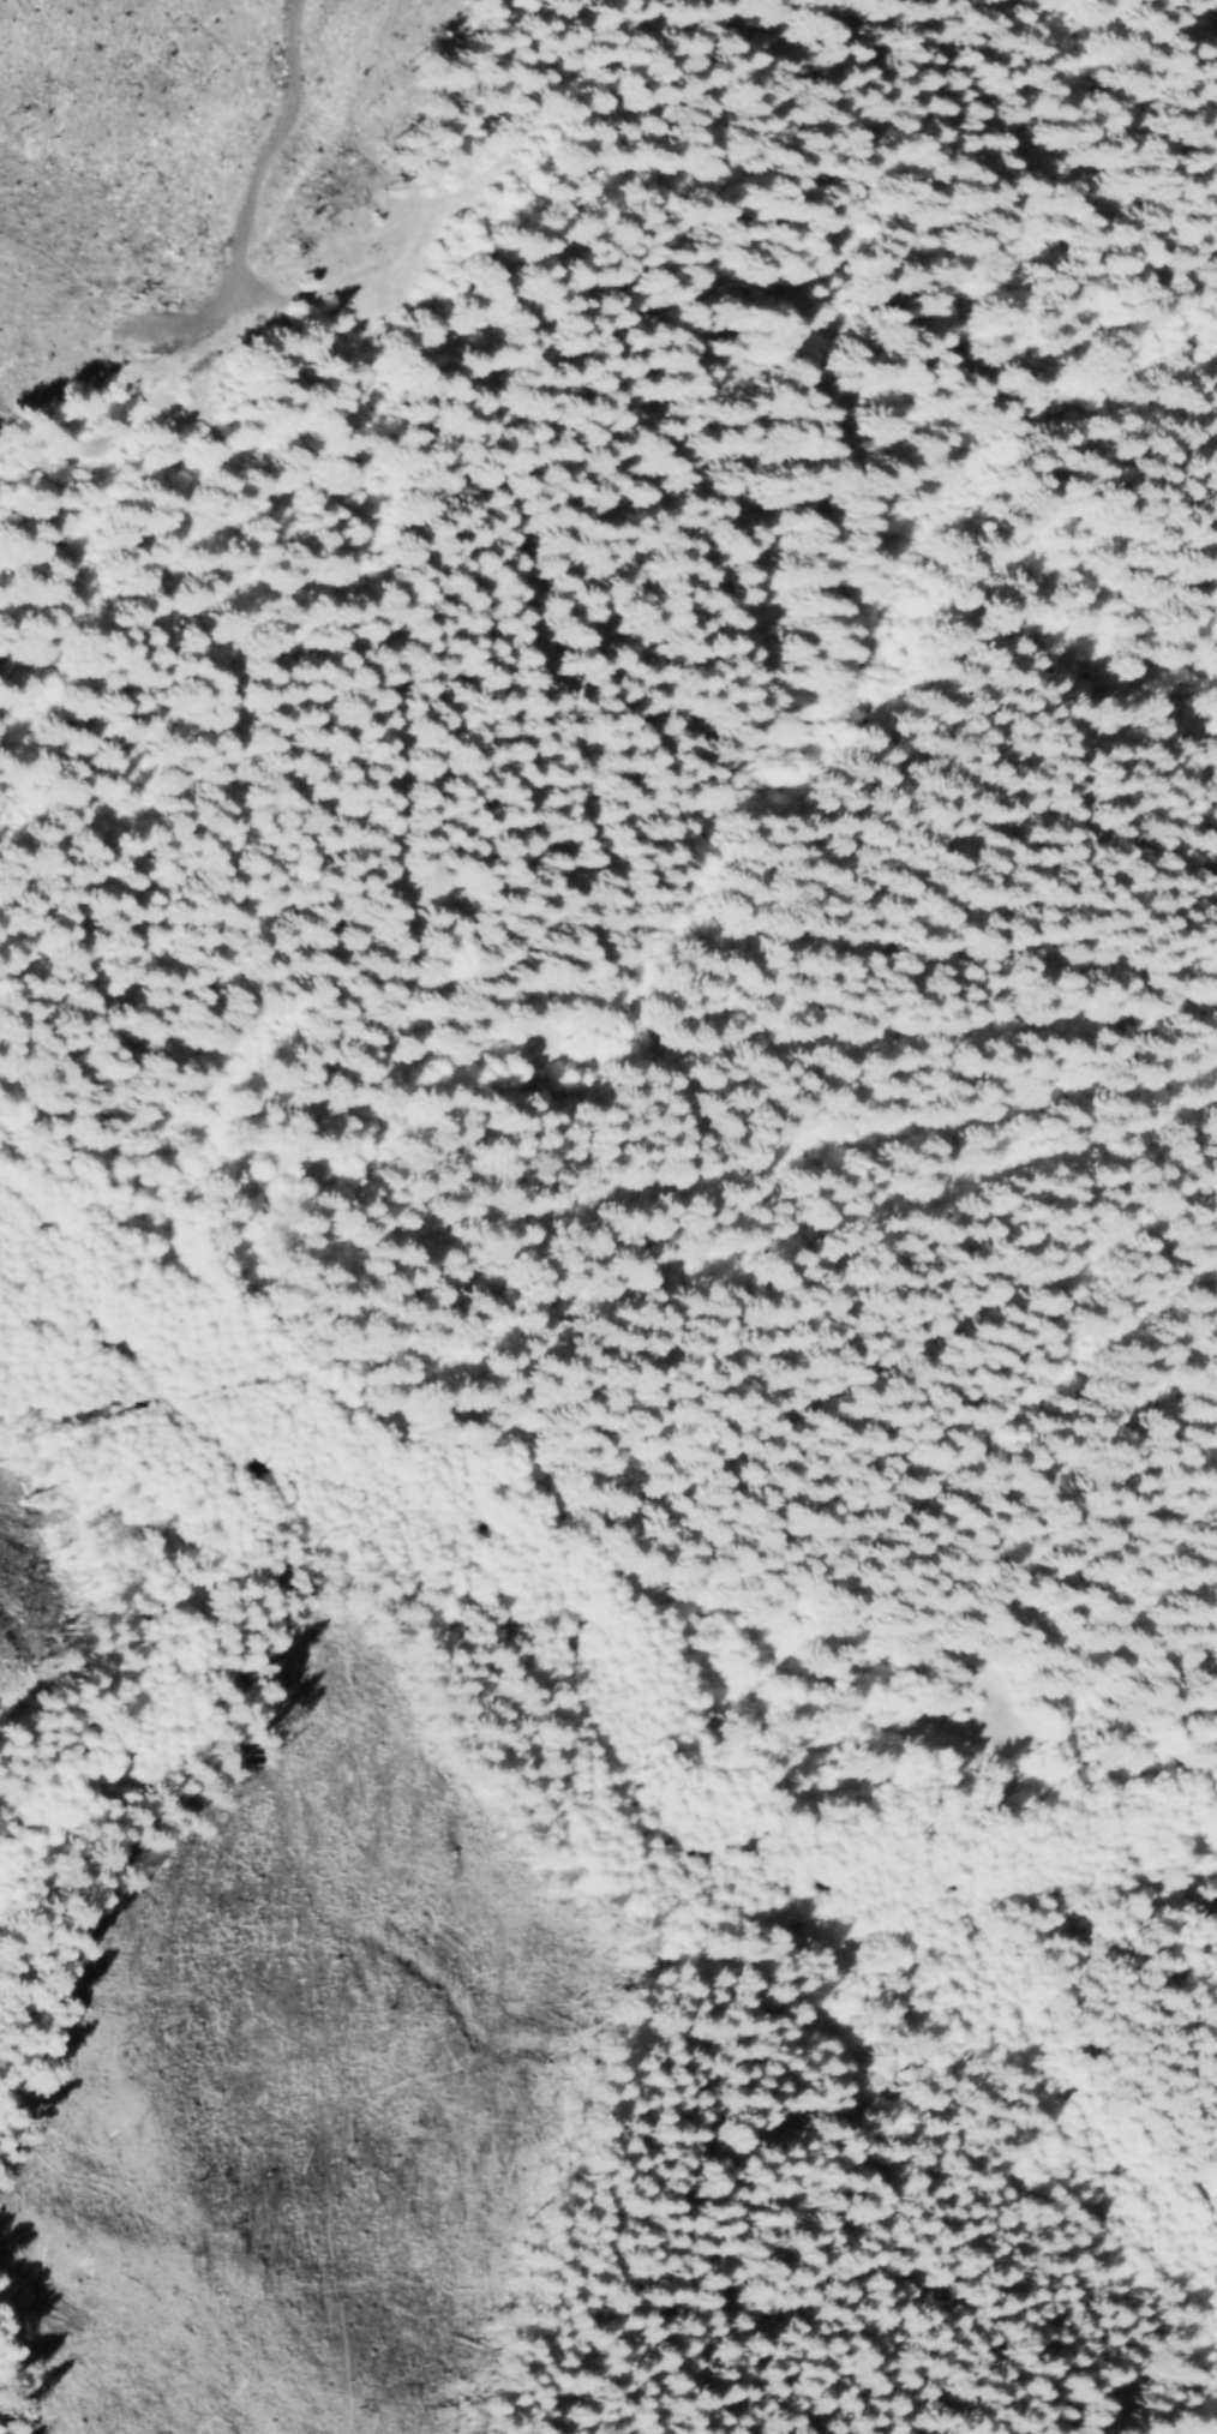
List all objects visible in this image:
road: (240, 244)
road: (570, 1531)
river: (533, 1674)

